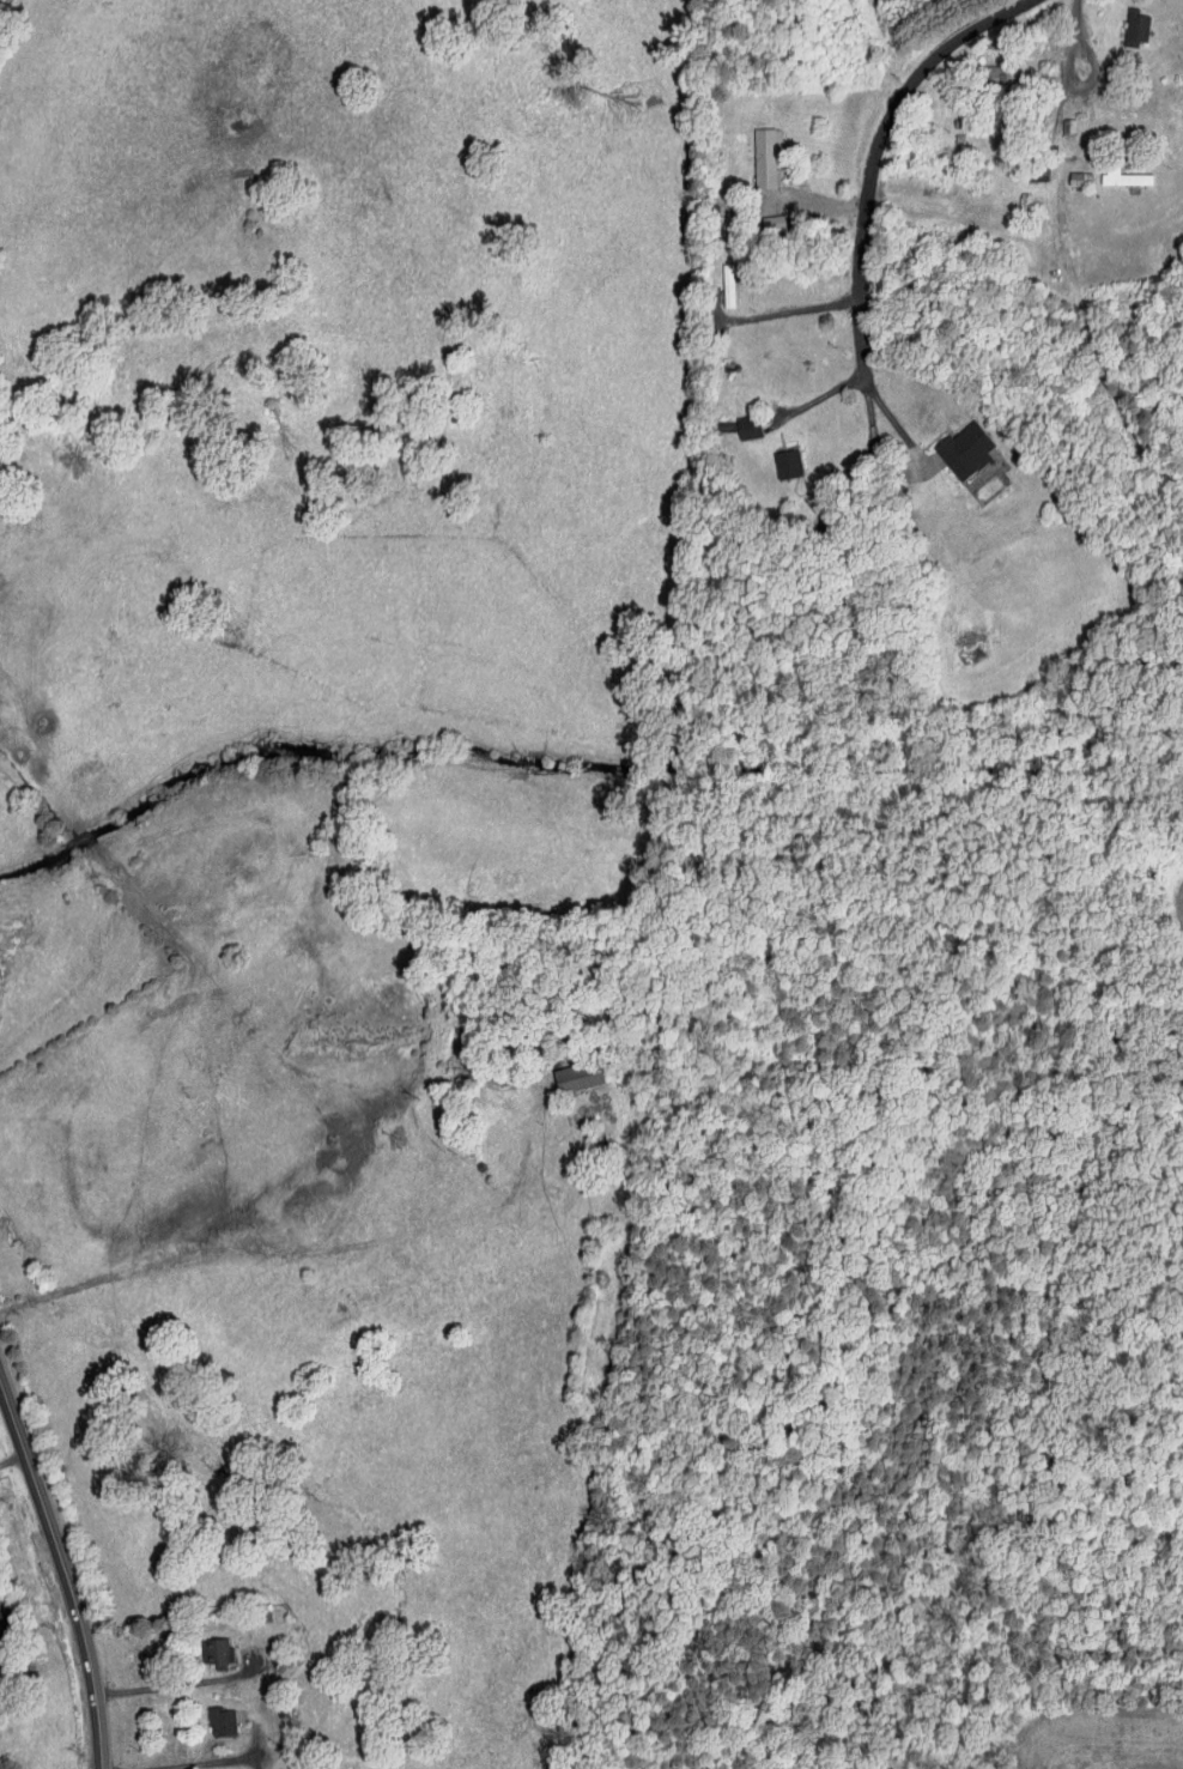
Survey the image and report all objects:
road: (1129, 11)
building: (1135, 29)
road: (1006, 53)
road: (1099, 72)
building: (987, 79)
building: (764, 156)
building: (1031, 172)
building: (1122, 177)
road: (918, 178)
road: (867, 196)
road: (819, 199)
building: (771, 223)
road: (799, 308)
road: (823, 396)
road: (892, 424)
building: (747, 428)
building: (964, 449)
building: (787, 464)
building: (581, 1073)
road: (315, 1247)
road: (13, 1459)
road: (65, 1568)
road: (177, 1626)
building: (217, 1650)
road: (154, 1670)
building: (220, 1720)
road: (172, 1758)

